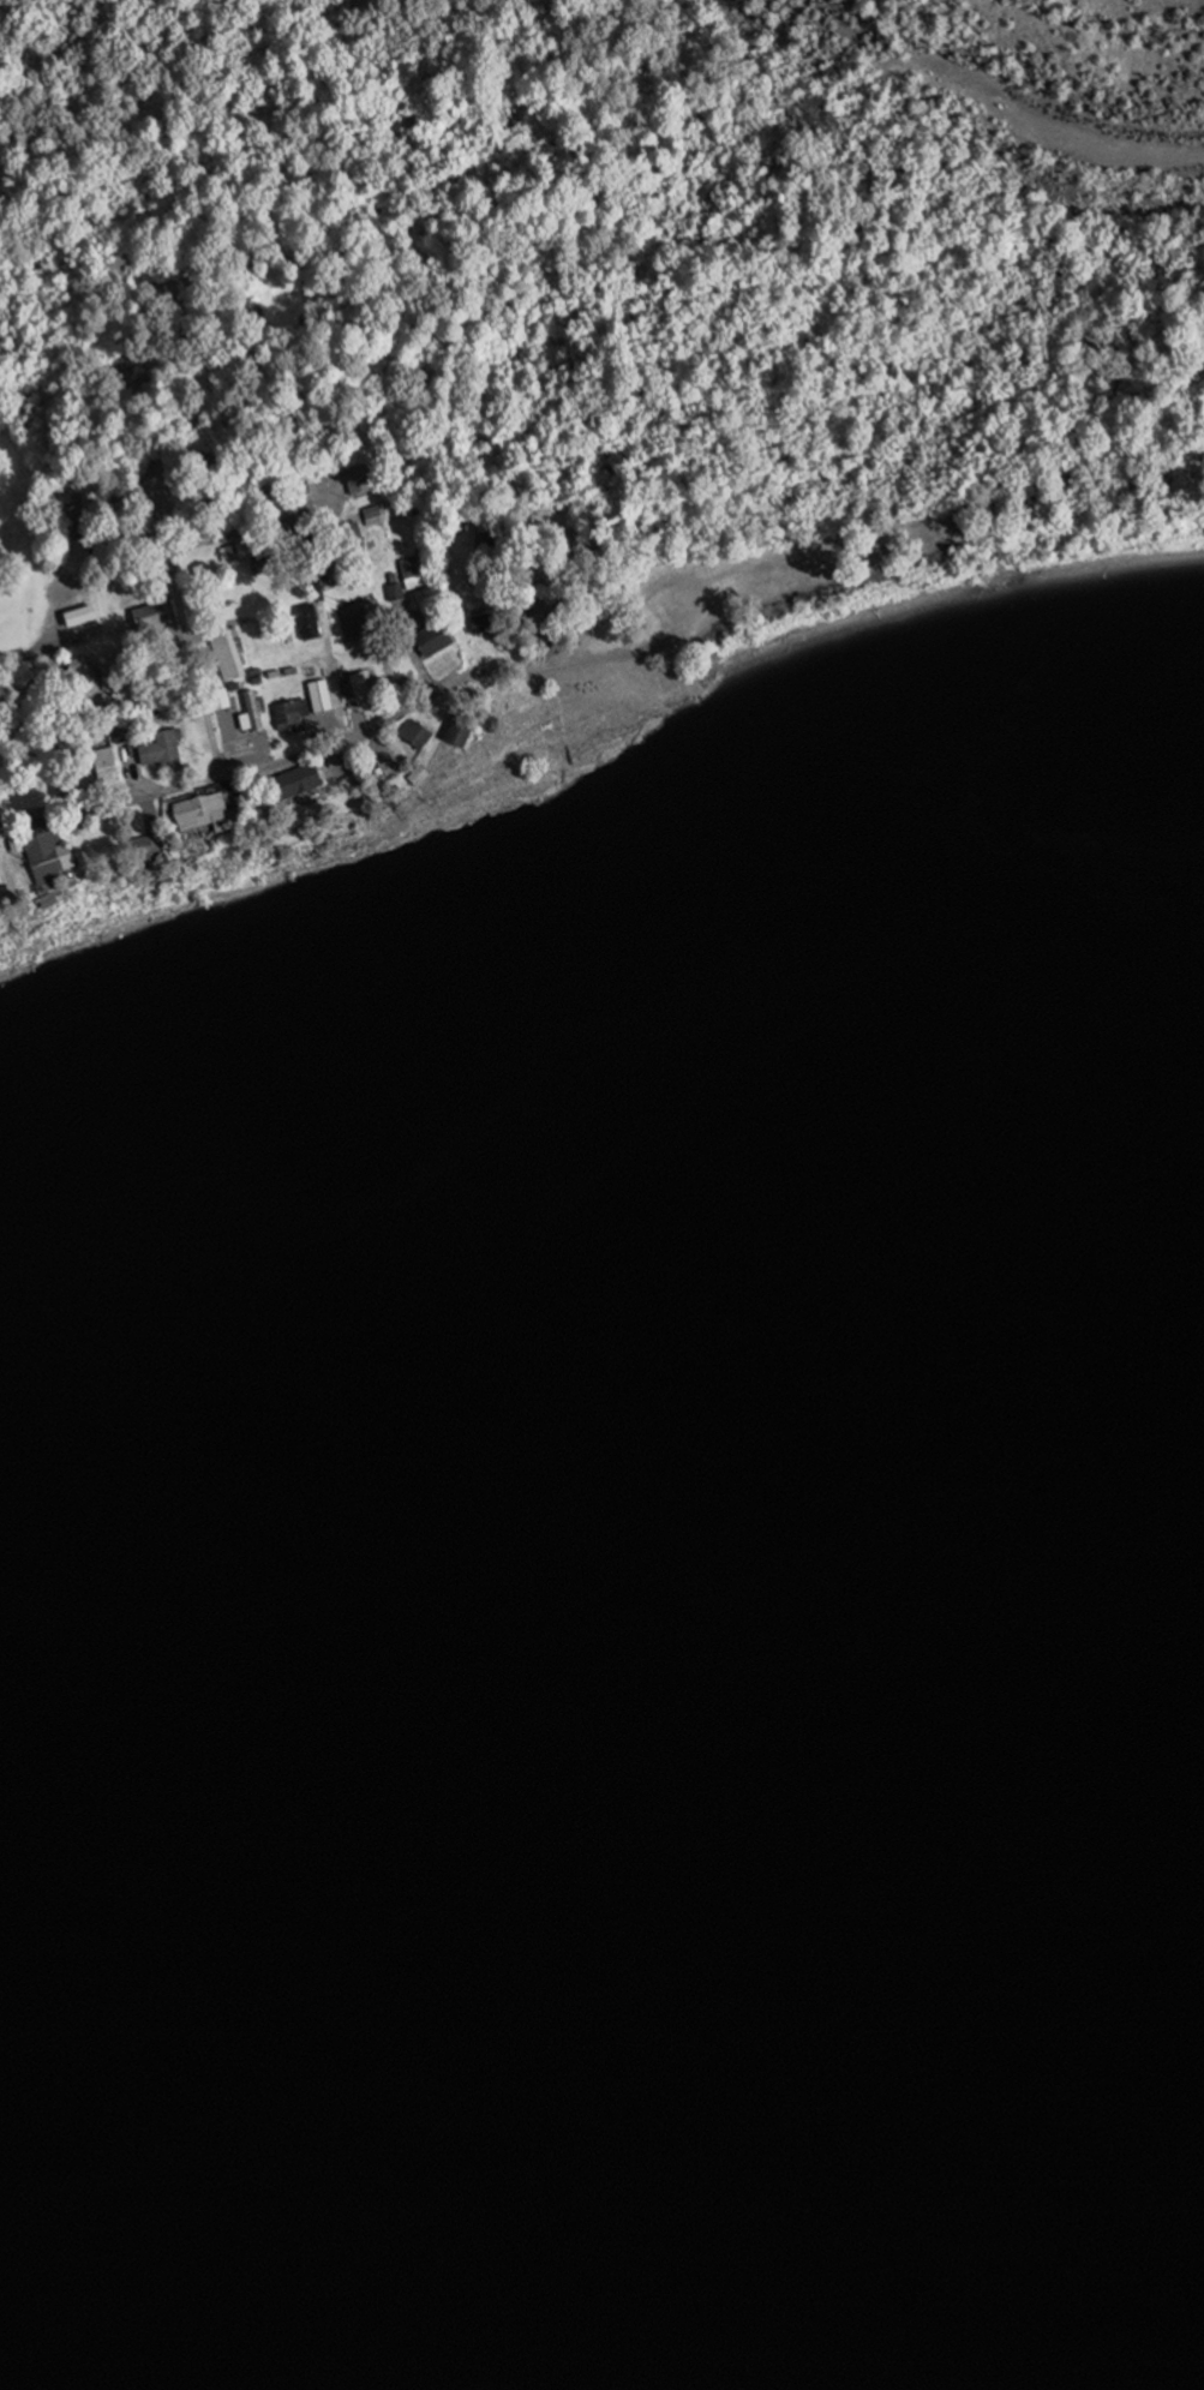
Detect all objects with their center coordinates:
quarry: (1044, 83)
road: (1000, 100)
building: (360, 481)
road: (339, 486)
road: (335, 509)
building: (272, 511)
building: (376, 517)
road: (296, 519)
building: (74, 520)
road: (244, 537)
building: (354, 537)
road: (193, 546)
building: (233, 555)
road: (173, 557)
building: (262, 565)
building: (205, 577)
road: (588, 589)
road: (54, 611)
building: (546, 612)
building: (82, 618)
building: (155, 618)
building: (360, 621)
building: (310, 623)
road: (209, 624)
building: (489, 624)
road: (77, 637)
building: (436, 641)
road: (550, 645)
road: (493, 647)
building: (1127, 649)
building: (229, 657)
road: (19, 658)
road: (426, 663)
road: (17, 667)
road: (396, 676)
building: (365, 691)
road: (442, 695)
building: (322, 699)
road: (403, 709)
road: (360, 713)
building: (253, 717)
building: (293, 718)
road: (228, 726)
road: (54, 729)
building: (463, 735)
building: (418, 737)
road: (389, 741)
road: (266, 744)
road: (340, 750)
building: (164, 753)
road: (286, 753)
building: (107, 766)
road: (133, 767)
road: (232, 780)
building: (303, 784)
road: (150, 807)
building: (203, 814)
road: (66, 816)
building: (148, 851)
building: (50, 856)
building: (20, 880)
river: (599, 1828)

